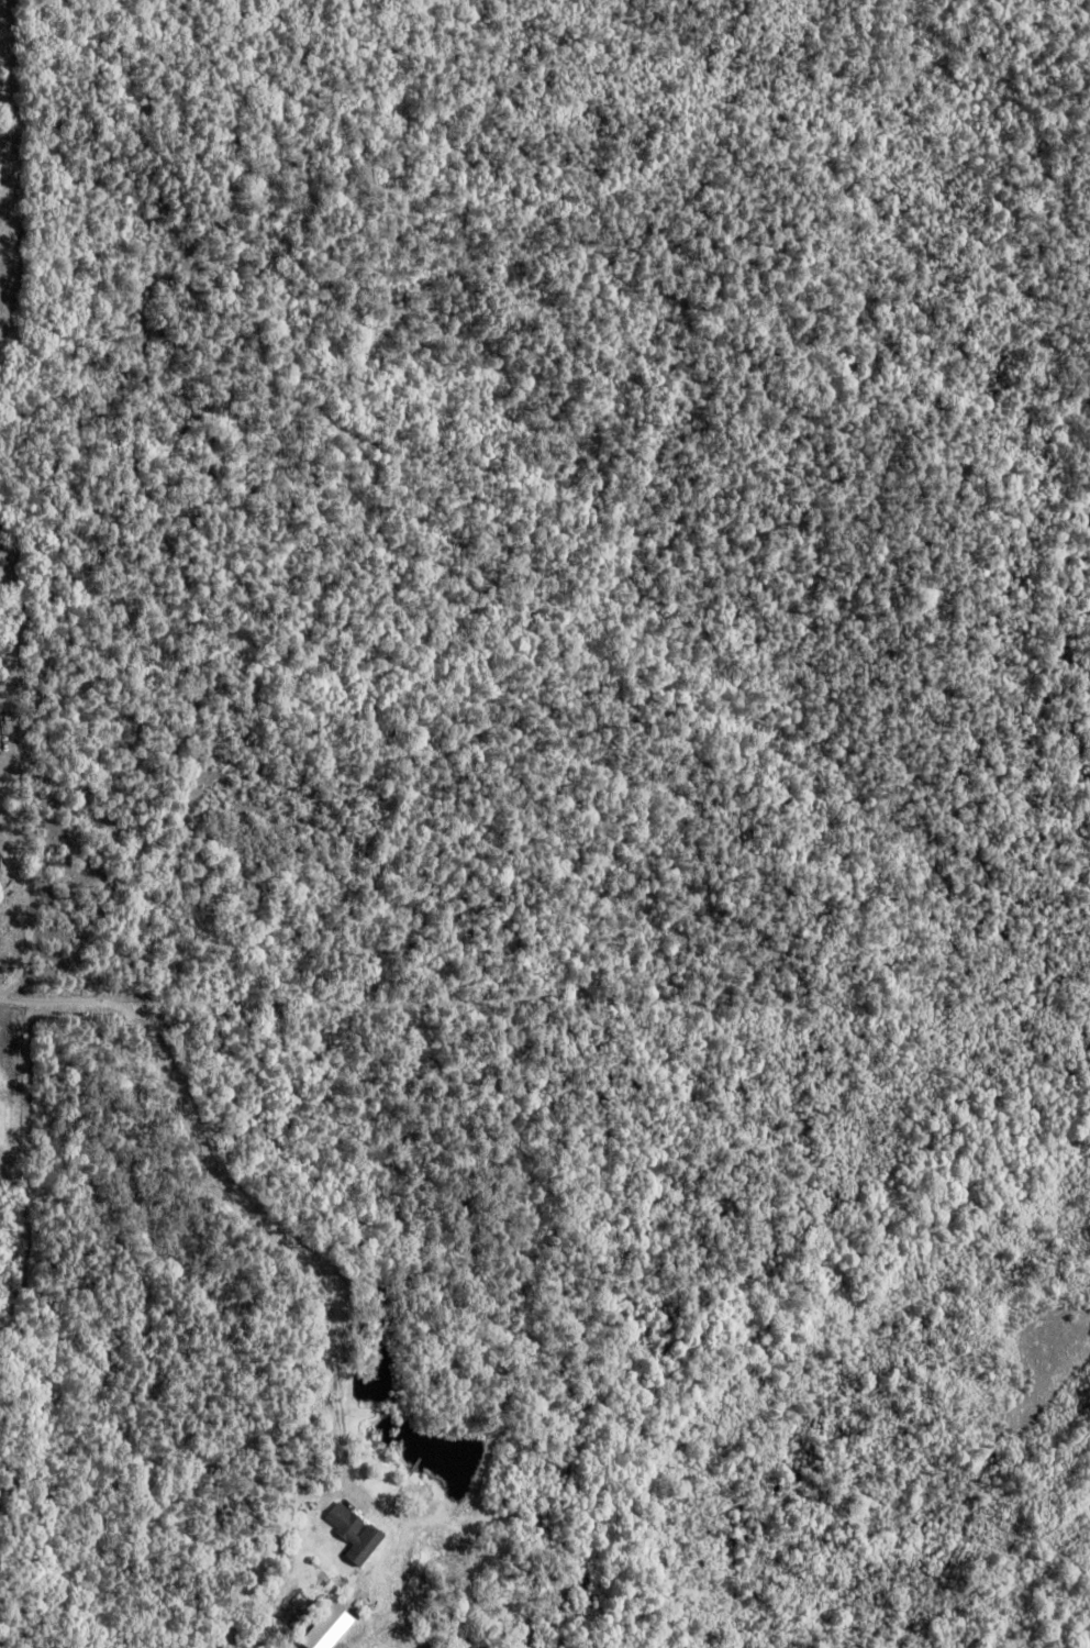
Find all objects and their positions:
building: (85, 792)
road: (225, 1187)
building: (349, 1531)

